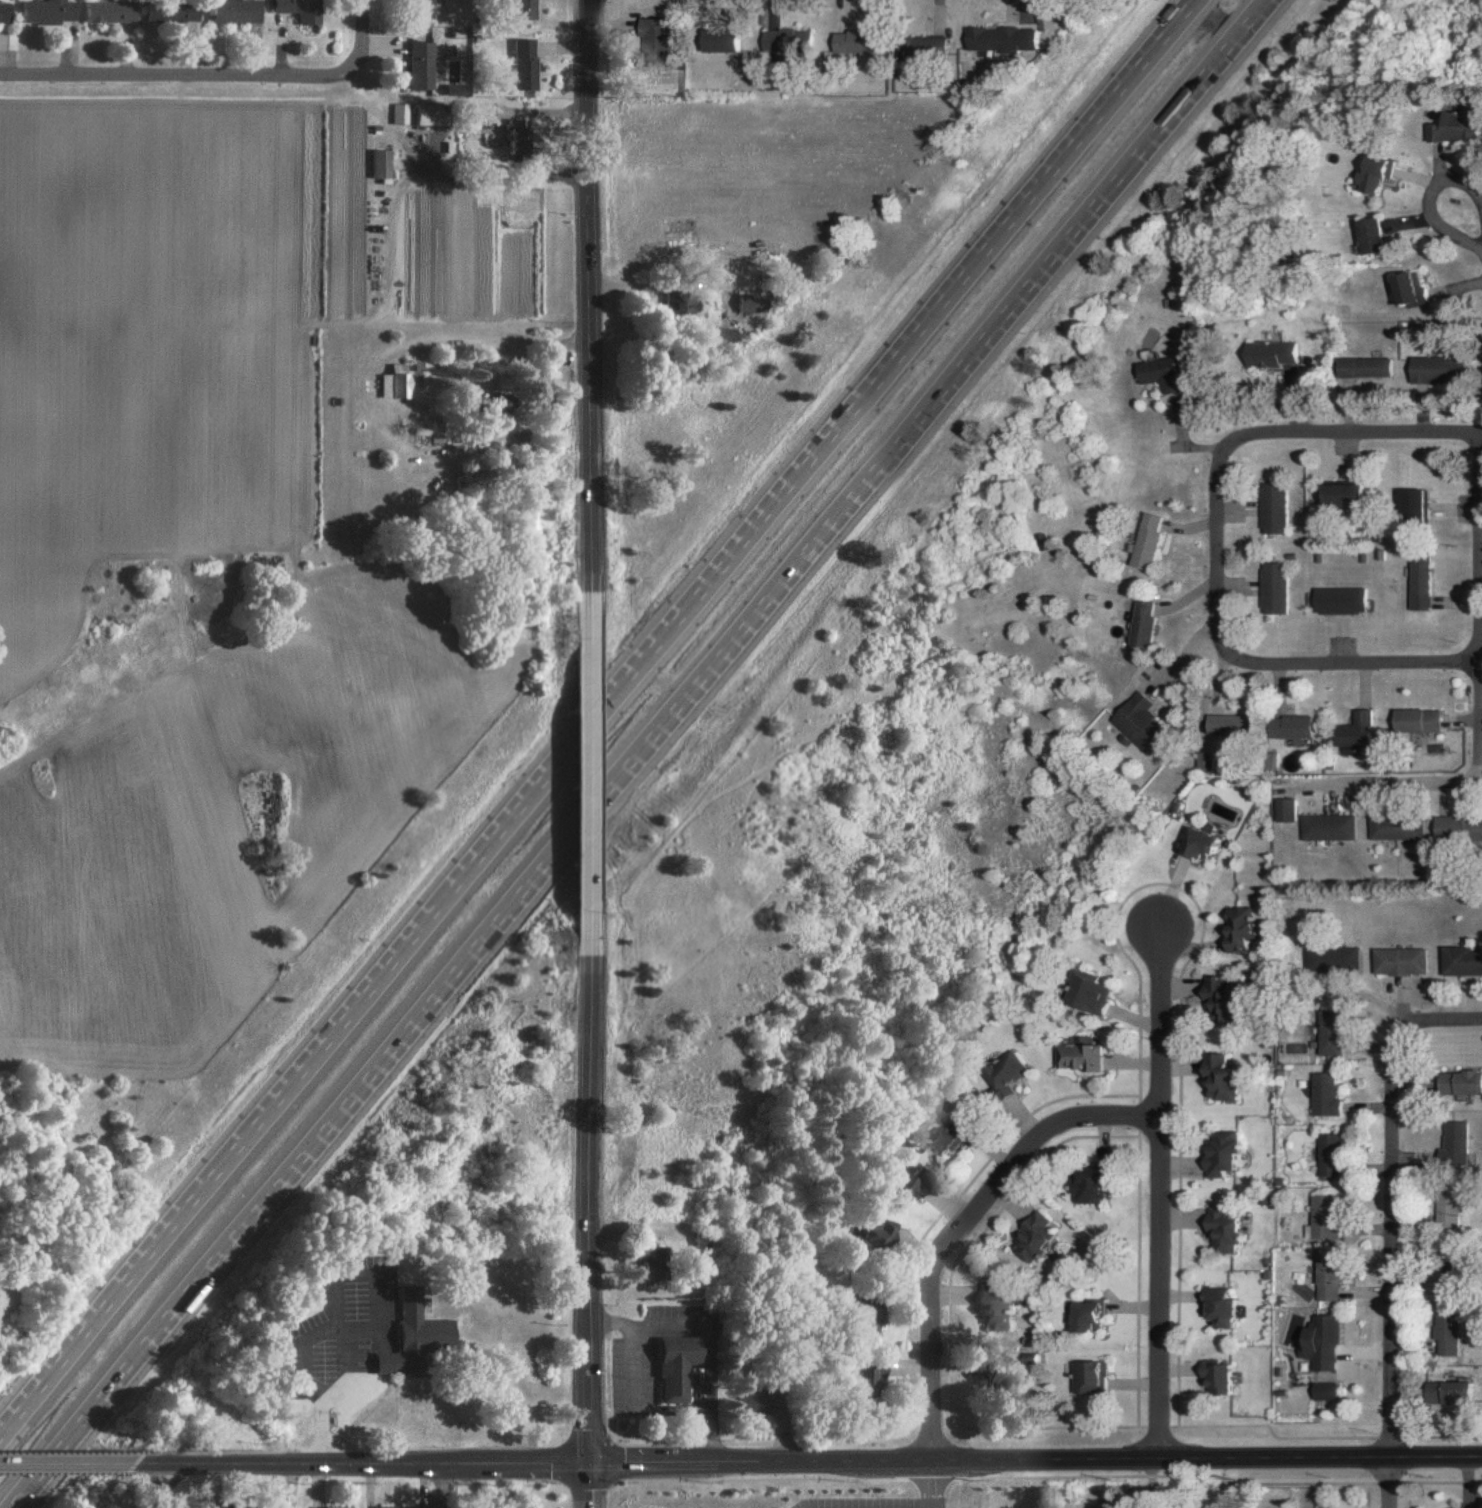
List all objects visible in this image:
building: (297, 9)
building: (422, 9)
building: (525, 9)
building: (44, 11)
building: (108, 11)
building: (234, 11)
building: (3, 12)
building: (170, 12)
road: (362, 37)
building: (654, 39)
building: (1002, 39)
building: (722, 40)
building: (855, 41)
building: (787, 42)
road: (1054, 46)
building: (925, 47)
building: (526, 64)
building: (421, 65)
road: (178, 78)
building: (400, 113)
building: (432, 114)
building: (1458, 127)
building: (518, 137)
building: (381, 164)
building: (1376, 174)
road: (1428, 198)
building: (1375, 235)
building: (1414, 289)
building: (680, 302)
building: (749, 303)
road: (591, 314)
building: (724, 334)
building: (1273, 354)
building: (1366, 367)
building: (1439, 369)
building: (1163, 373)
building: (396, 382)
road: (550, 396)
building: (436, 432)
road: (1367, 435)
building: (1346, 495)
building: (1416, 507)
building: (1272, 508)
building: (1148, 541)
building: (1420, 583)
building: (1272, 588)
building: (1339, 600)
building: (1144, 623)
road: (1234, 657)
road: (1480, 700)
building: (1419, 720)
road: (598, 722)
building: (1141, 724)
building: (1230, 725)
building: (1291, 726)
building: (1356, 730)
road: (643, 753)
road: (590, 774)
building: (1286, 810)
building: (1328, 827)
building: (1397, 828)
building: (1459, 828)
building: (1201, 844)
building: (1237, 929)
building: (1329, 959)
building: (1398, 961)
building: (1461, 961)
building: (1089, 993)
building: (1215, 995)
road: (1438, 1022)
building: (1327, 1032)
building: (1078, 1057)
building: (1219, 1077)
building: (1004, 1078)
building: (1460, 1082)
building: (1321, 1095)
building: (953, 1135)
building: (1452, 1144)
building: (1221, 1152)
building: (1327, 1157)
building: (911, 1179)
building: (1092, 1185)
road: (590, 1192)
road: (1155, 1192)
building: (1446, 1209)
building: (1322, 1217)
road: (957, 1225)
building: (1225, 1228)
building: (875, 1236)
building: (1035, 1238)
building: (705, 1240)
road: (1389, 1244)
building: (654, 1266)
building: (1328, 1278)
building: (1221, 1306)
building: (997, 1308)
building: (1090, 1316)
building: (867, 1322)
road: (345, 1324)
building: (419, 1325)
road: (333, 1326)
road: (711, 1334)
building: (1447, 1336)
building: (1322, 1342)
road: (348, 1347)
building: (1031, 1358)
building: (389, 1362)
road: (386, 1363)
building: (677, 1366)
building: (1091, 1377)
building: (996, 1378)
building: (1220, 1378)
building: (867, 1381)
building: (1327, 1391)
building: (1451, 1393)
building: (755, 1402)
road: (369, 1412)
road: (1036, 1462)
road: (64, 1465)
road: (359, 1466)
road: (1390, 1483)
road: (929, 1485)
road: (446, 1487)
road: (589, 1487)
park: (127, 1498)
building: (336, 1507)

